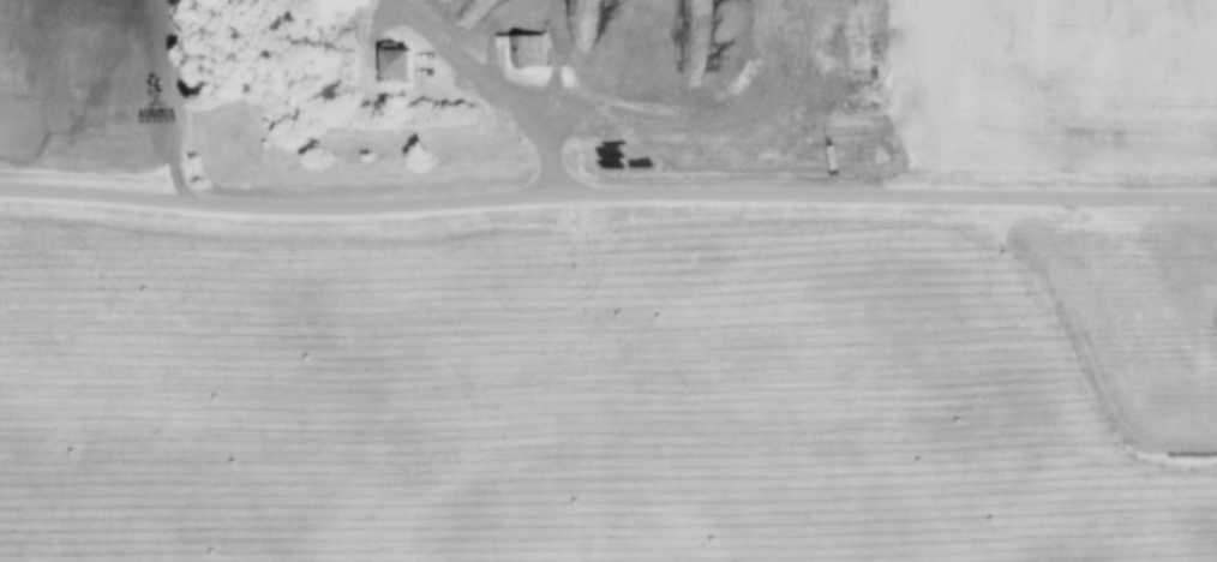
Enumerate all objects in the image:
building: (529, 49)
building: (397, 65)
road: (503, 90)
road: (607, 197)

